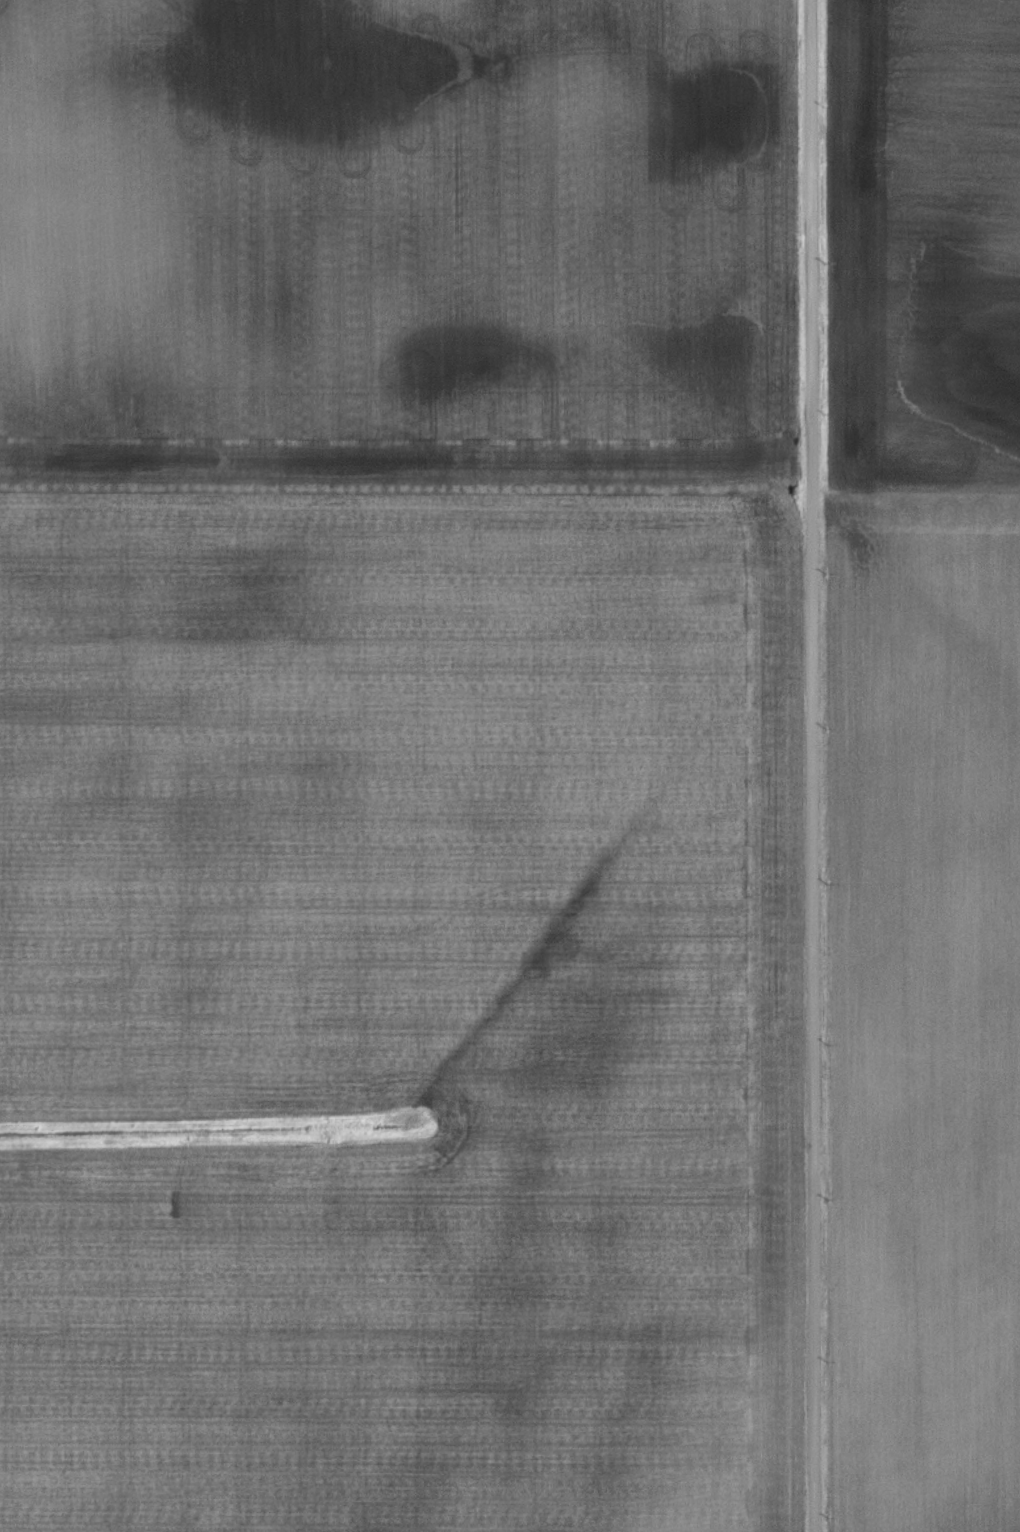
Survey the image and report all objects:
road: (803, 766)

